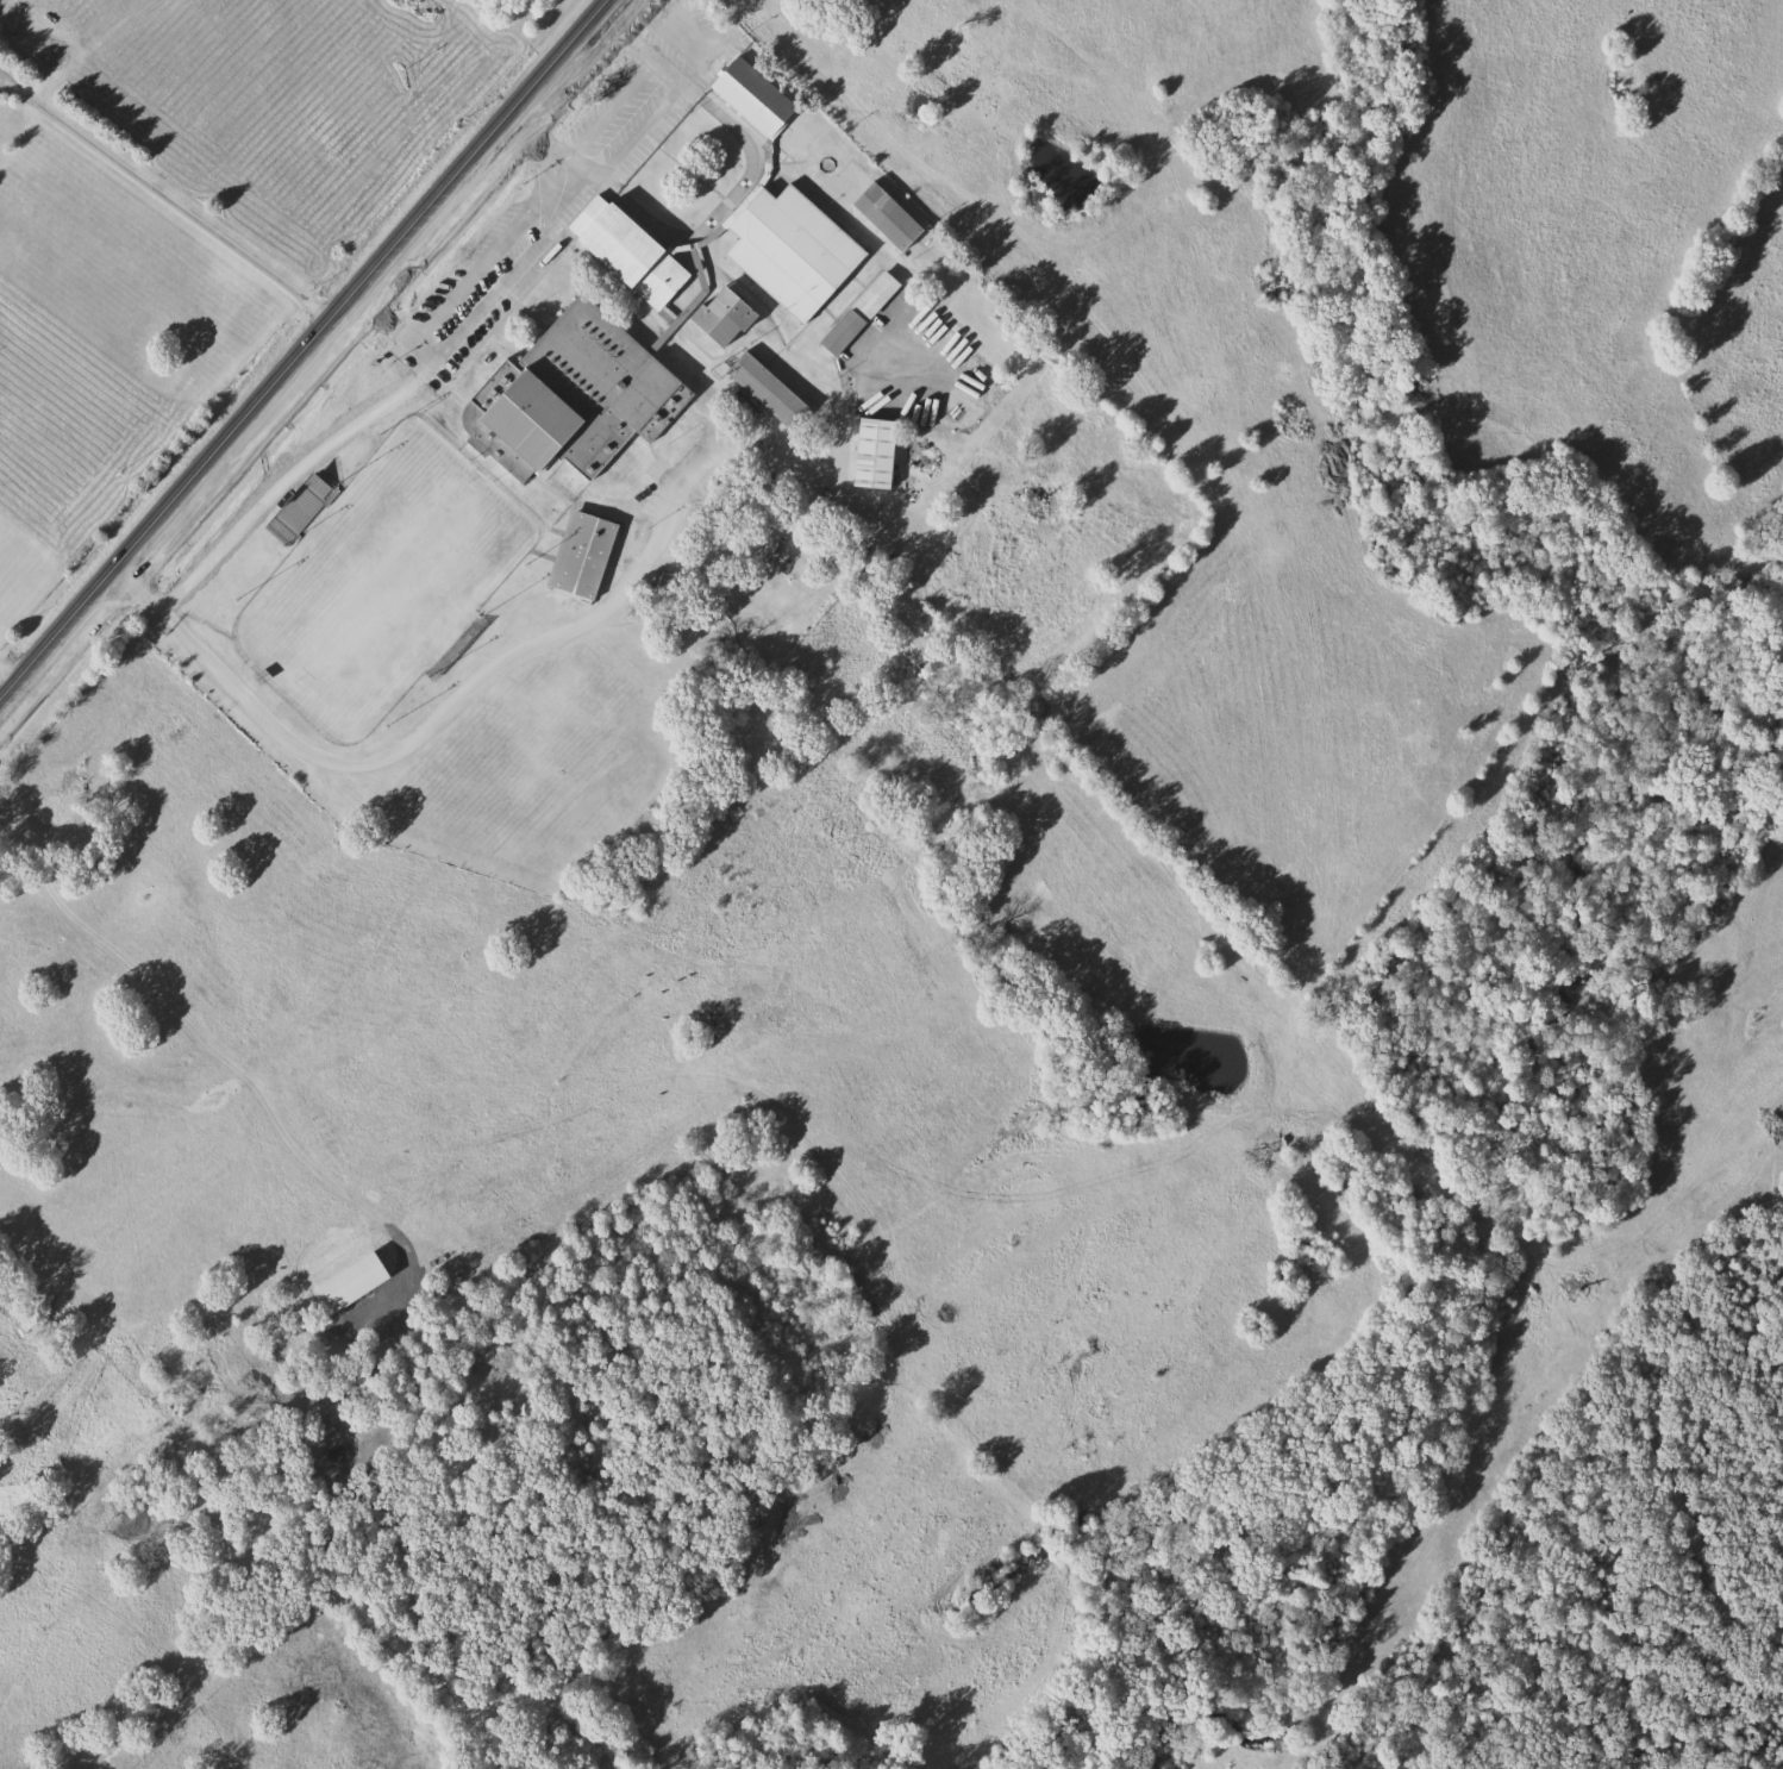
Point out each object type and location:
road: (676, 24)
road: (637, 82)
building: (758, 95)
road: (163, 200)
building: (891, 215)
building: (797, 249)
road: (488, 252)
building: (636, 254)
building: (881, 294)
building: (730, 314)
building: (846, 332)
road: (300, 350)
building: (771, 389)
building: (577, 396)
building: (880, 452)
building: (305, 507)
building: (587, 554)
road: (8, 675)
road: (390, 755)
building: (359, 1281)

